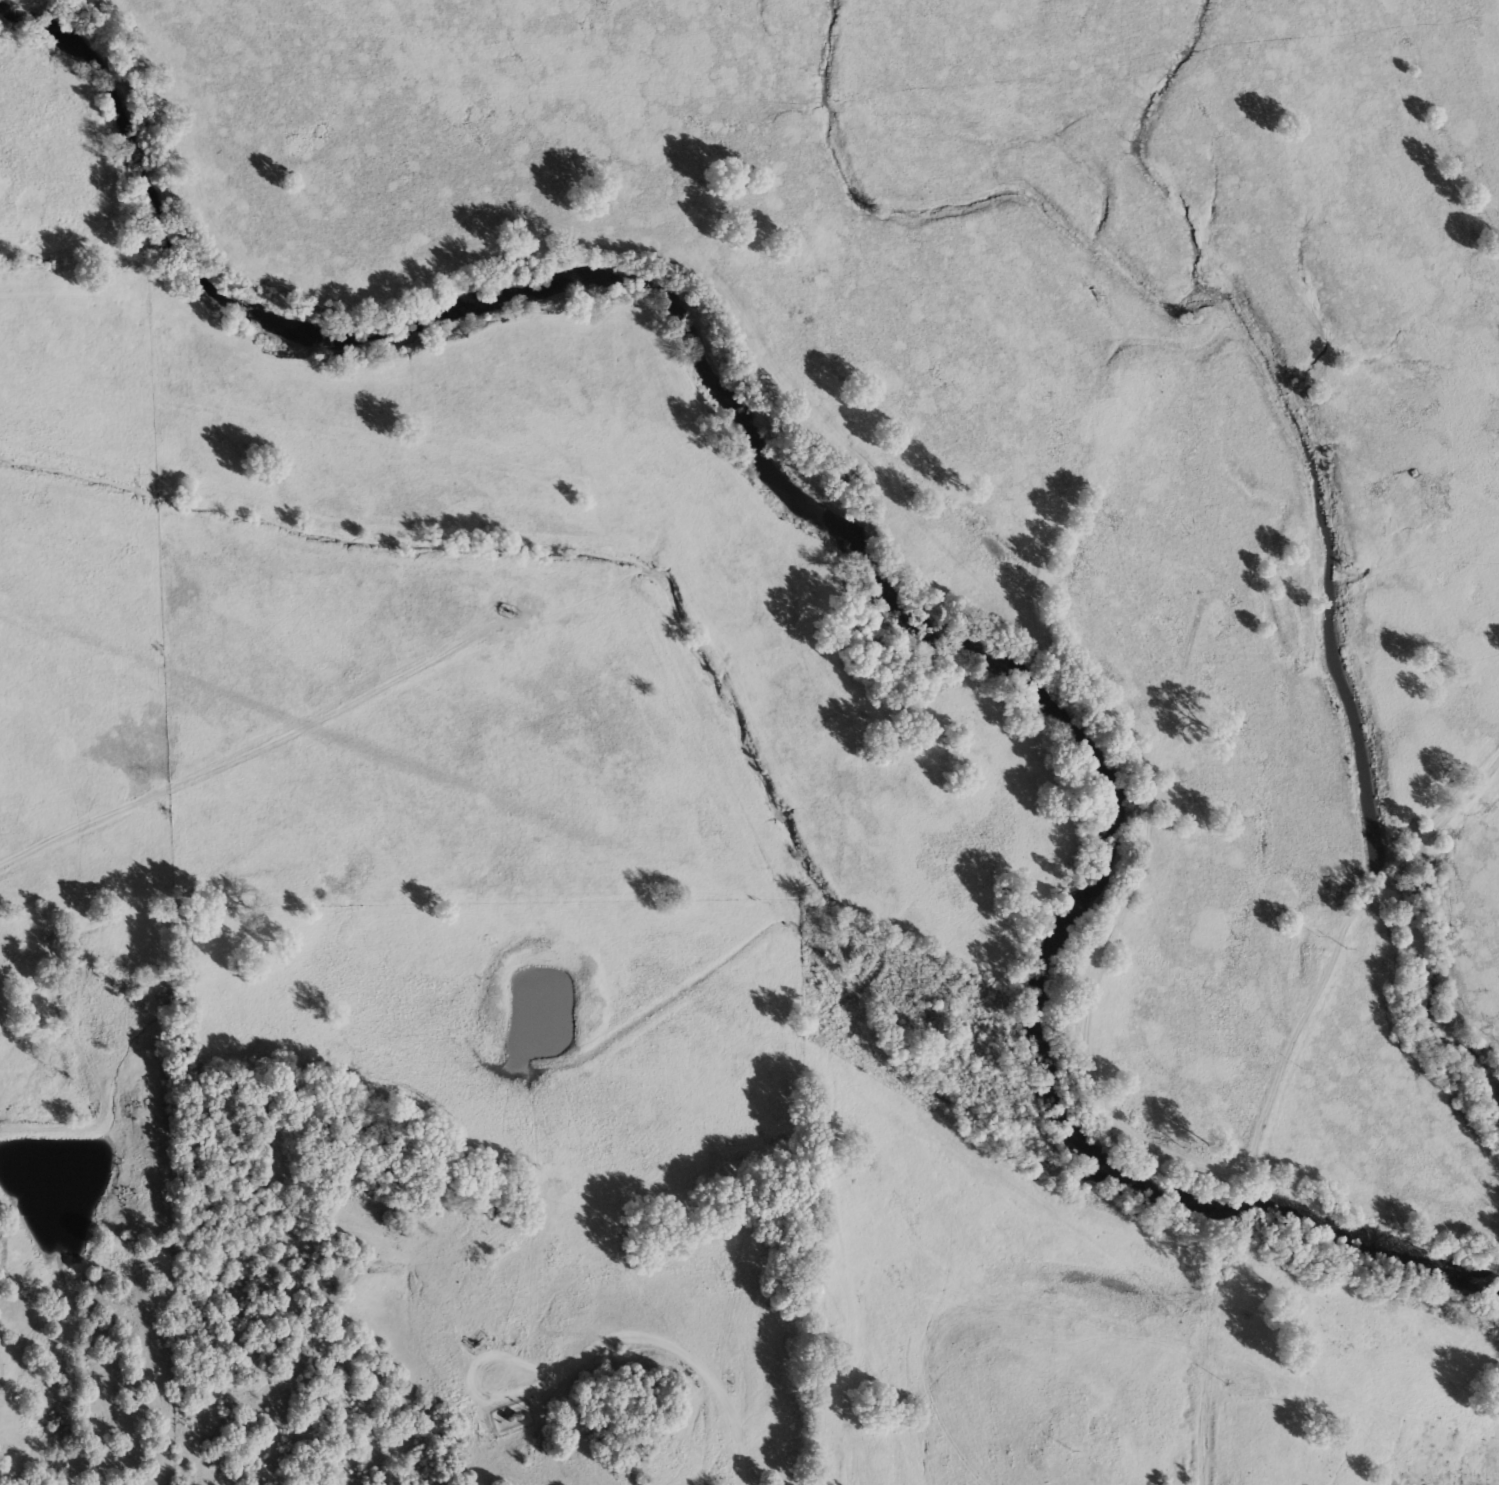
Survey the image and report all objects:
road: (1305, 1119)
road: (687, 1355)
road: (470, 1380)

